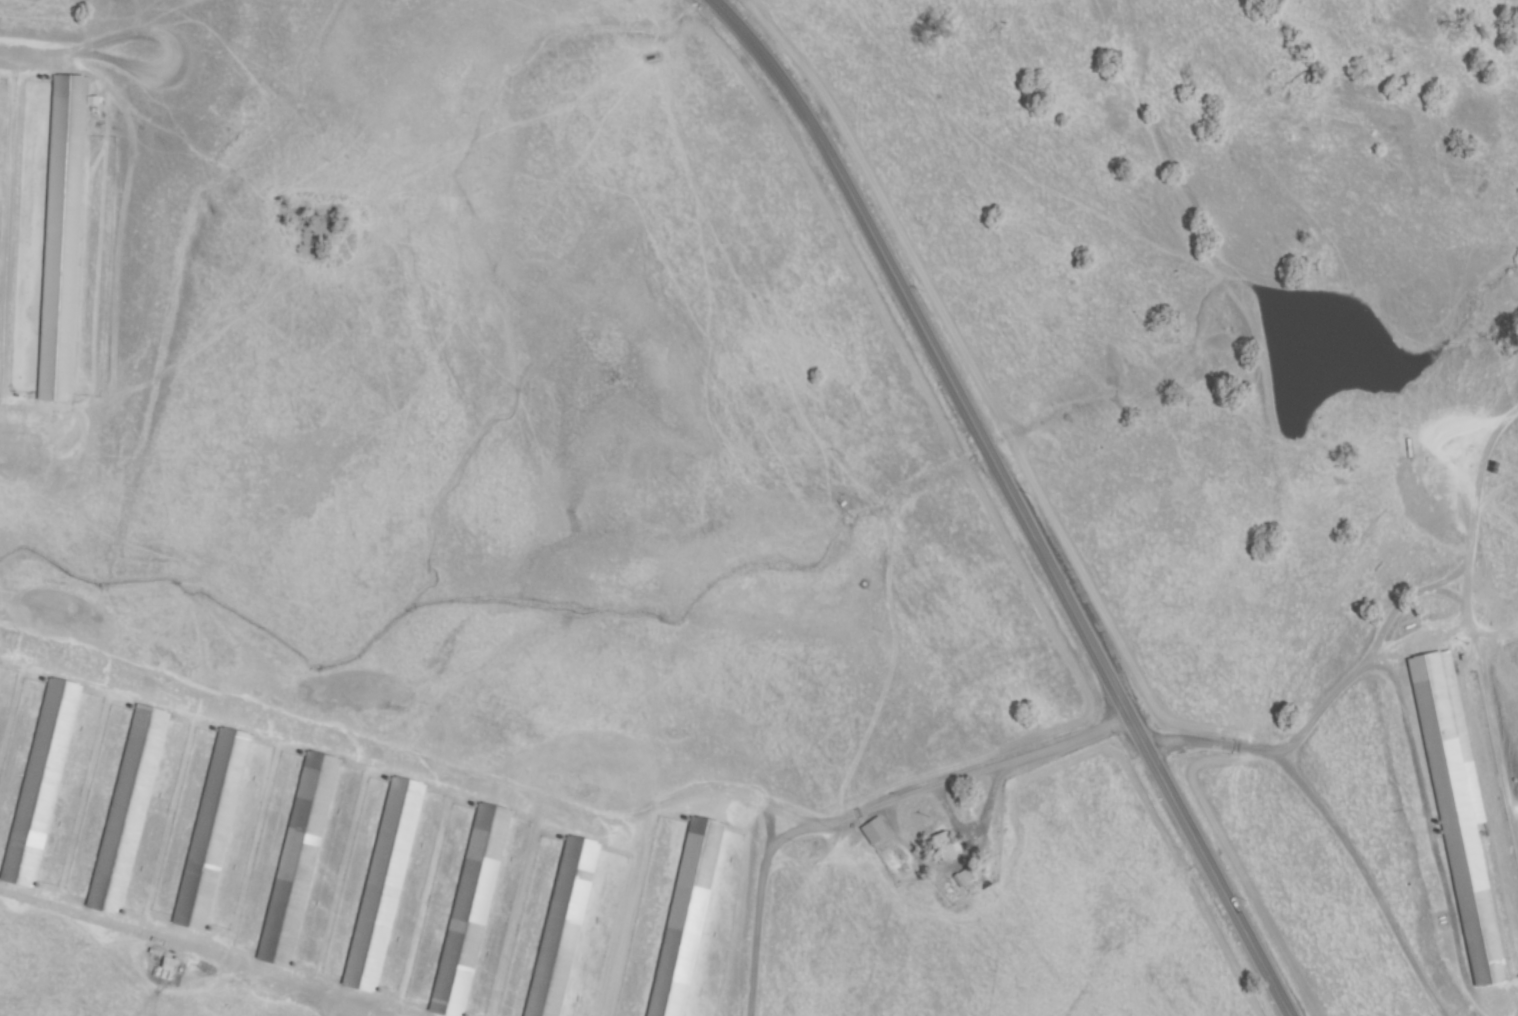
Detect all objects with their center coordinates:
building: (63, 238)
building: (1494, 468)
road: (1009, 500)
building: (842, 503)
road: (1282, 752)
building: (41, 782)
road: (864, 806)
building: (128, 810)
building: (1458, 820)
building: (213, 829)
building: (876, 829)
building: (946, 847)
building: (298, 859)
building: (969, 876)
building: (384, 885)
building: (471, 911)
building: (686, 918)
building: (563, 928)
road: (220, 954)
building: (171, 964)

